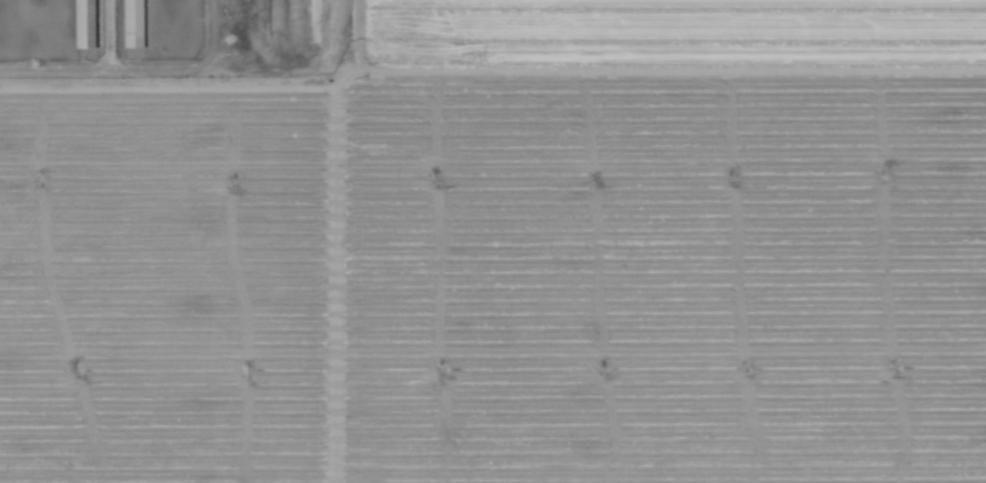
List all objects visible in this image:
building: (83, 24)
building: (132, 24)
crop: (515, 257)

